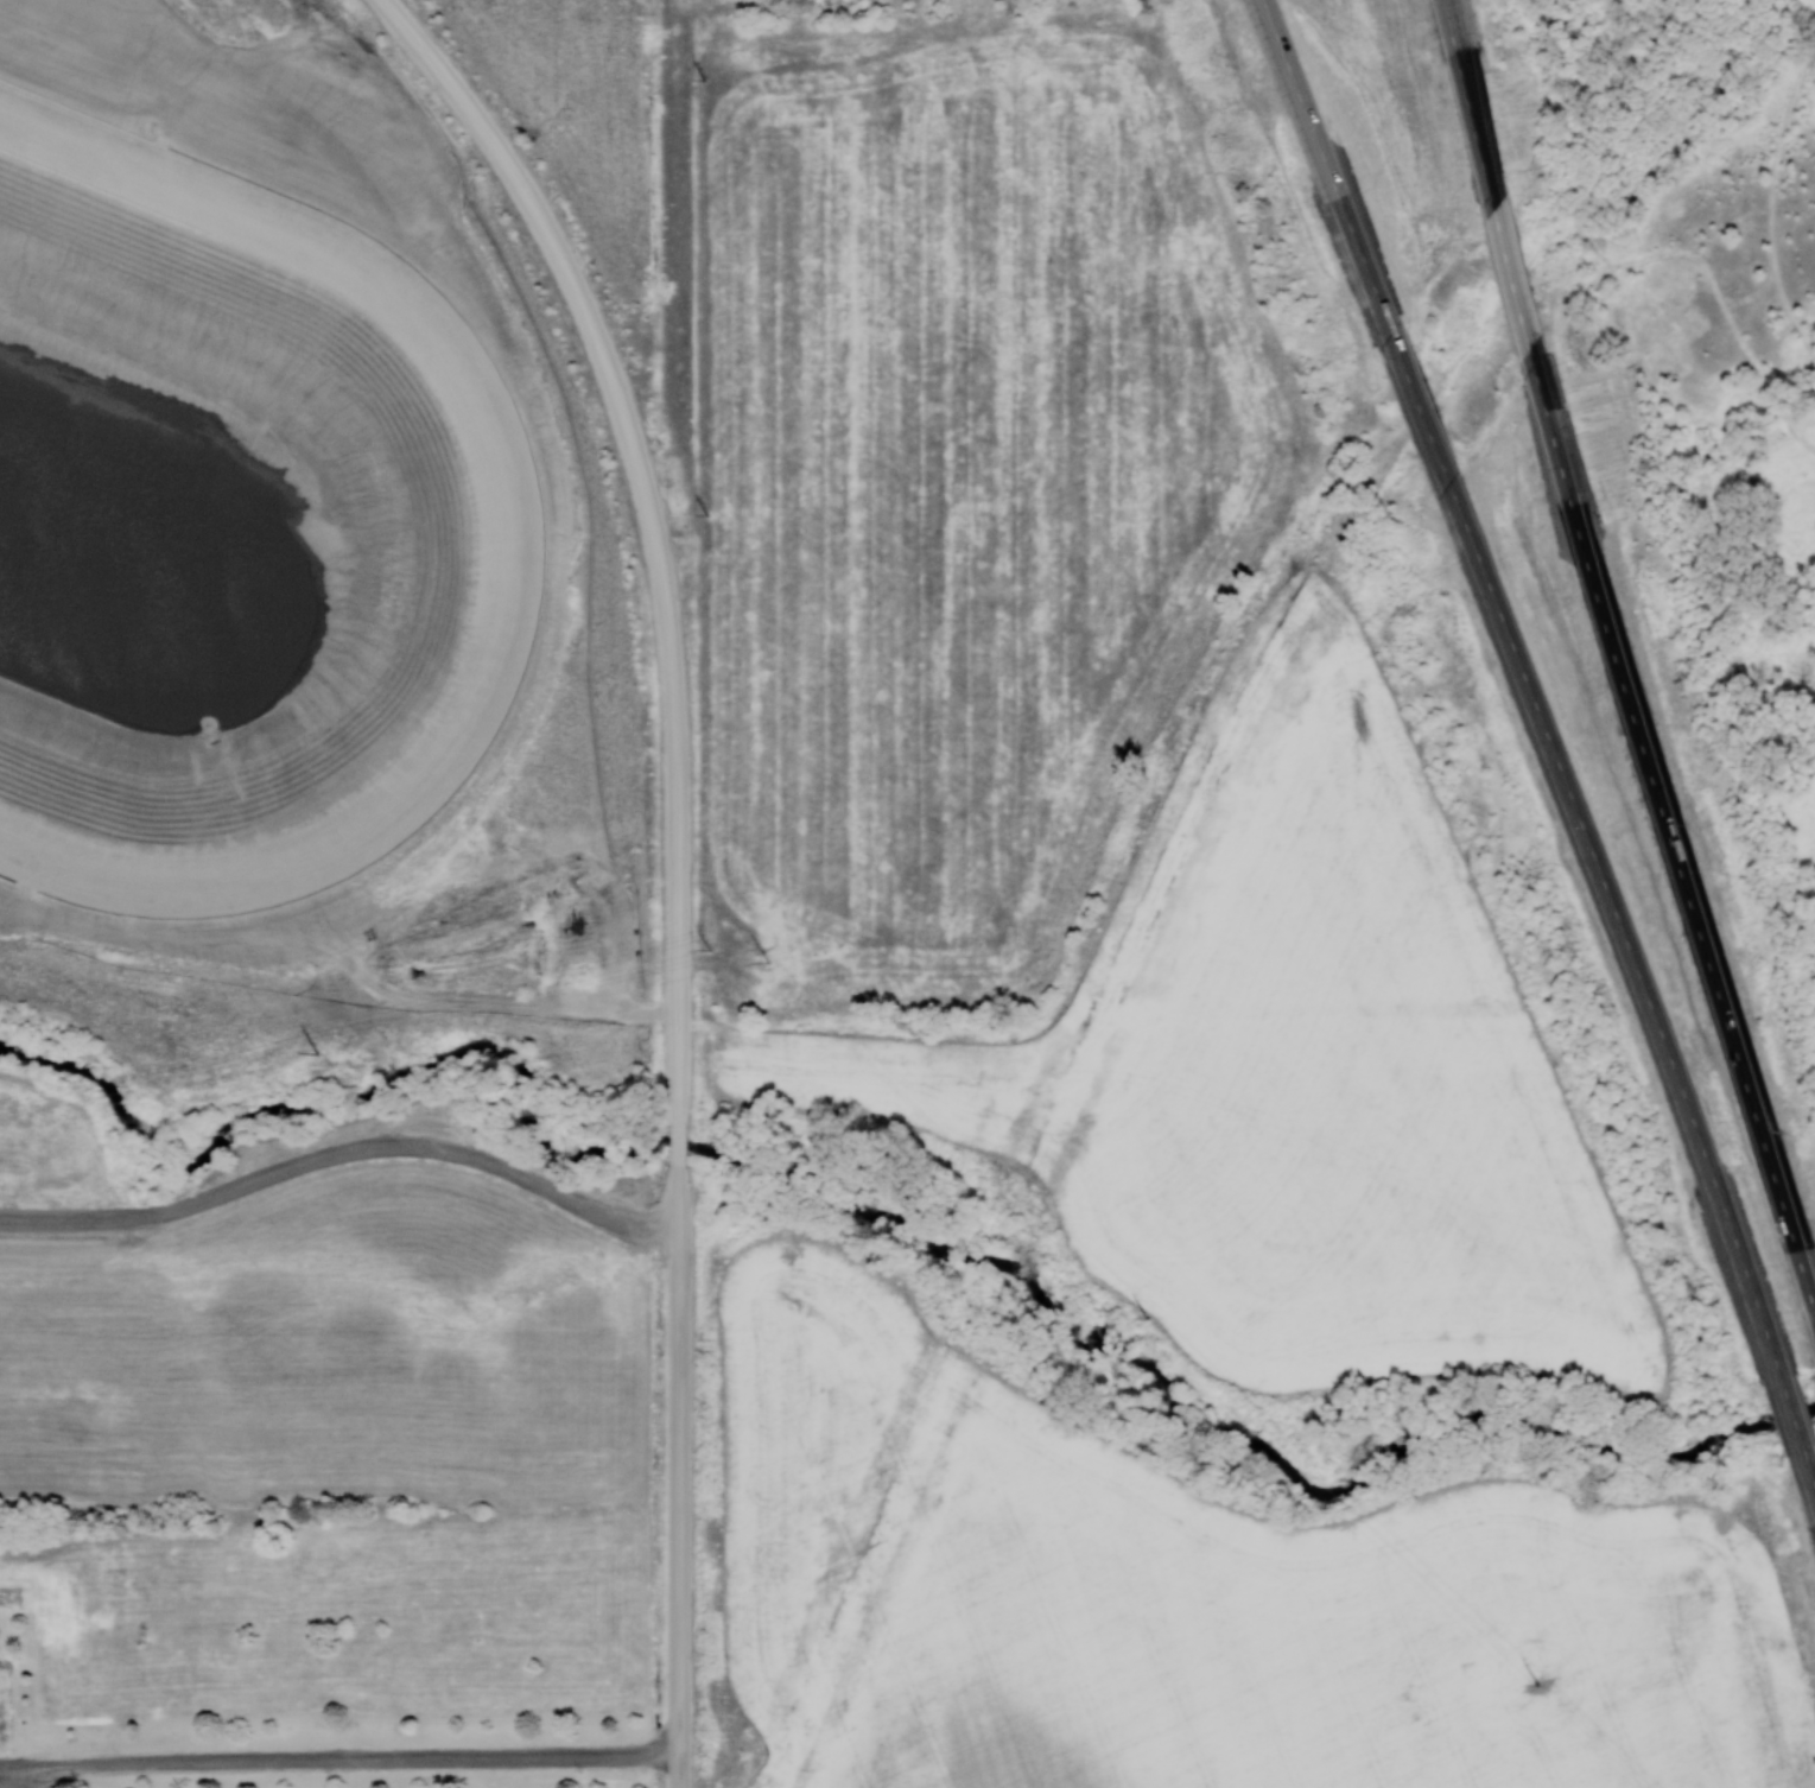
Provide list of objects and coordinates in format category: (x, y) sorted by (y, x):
road: (675, 14)
road: (1460, 57)
road: (1462, 58)
power tower: (704, 77)
road: (1484, 159)
road: (1529, 164)
road: (1326, 173)
road: (1626, 261)
road: (1513, 279)
road: (1415, 405)
park: (1688, 449)
power tower: (706, 515)
road: (653, 526)
track: (297, 527)
road: (1667, 836)
road: (1610, 915)
power tower: (707, 947)
power tower: (769, 960)
power tower: (321, 1054)
road: (677, 1148)
road: (342, 1152)
power tower: (1147, 1317)
road: (1789, 1412)
road: (1808, 1475)
road: (678, 1479)
power tower: (1536, 1685)
road: (339, 1761)

